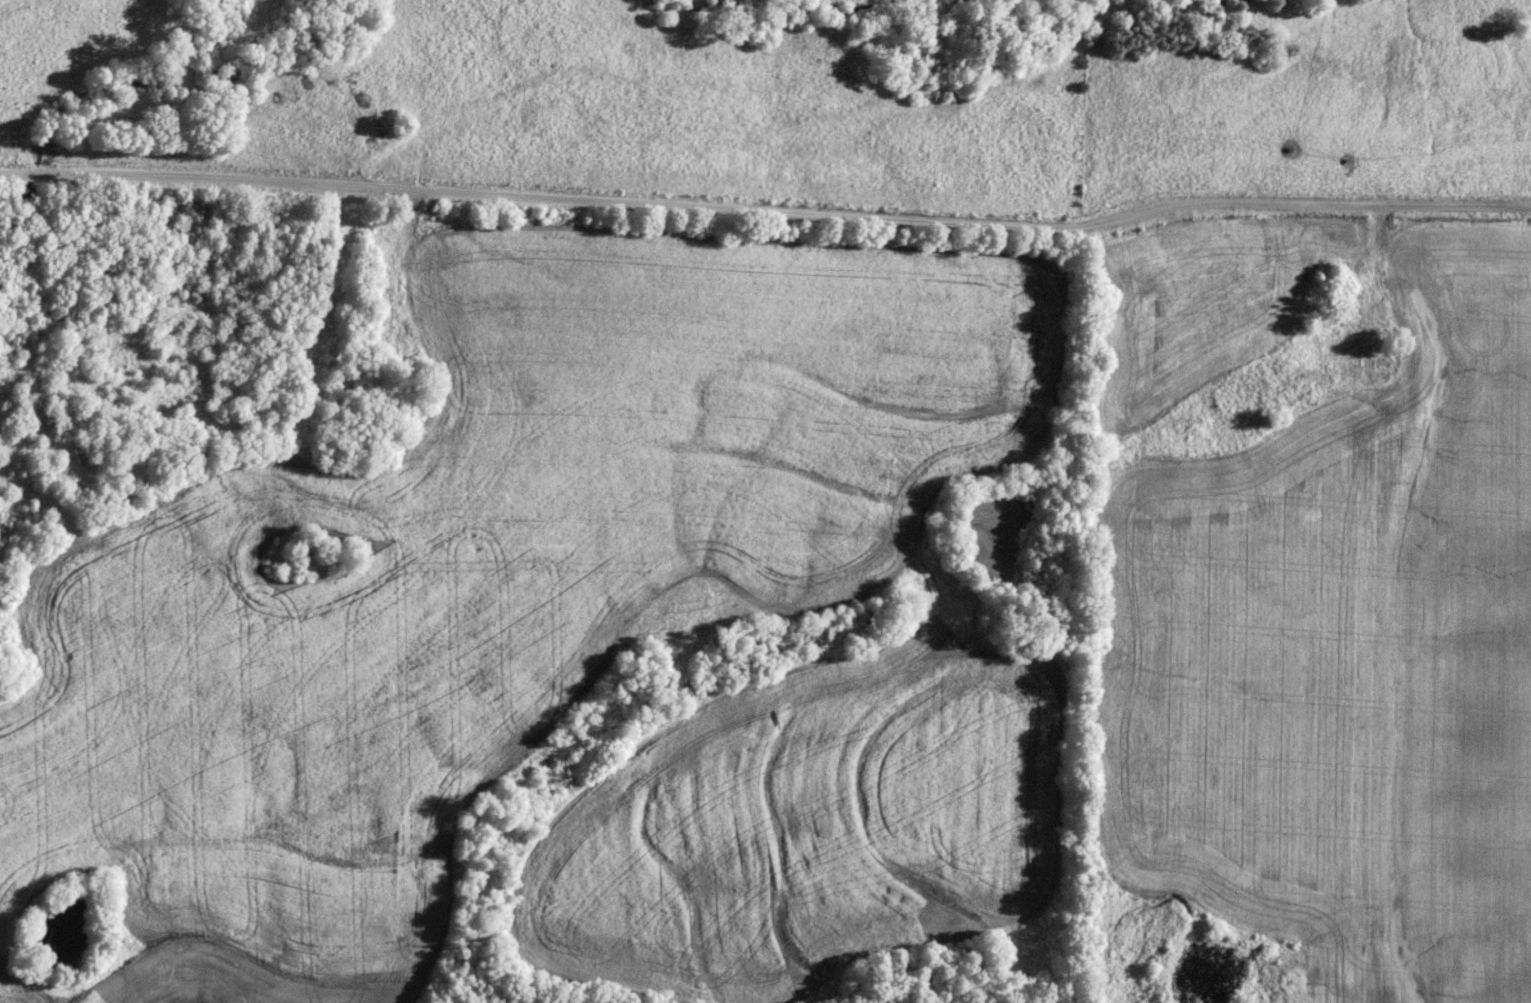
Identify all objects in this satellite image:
road: (766, 212)

